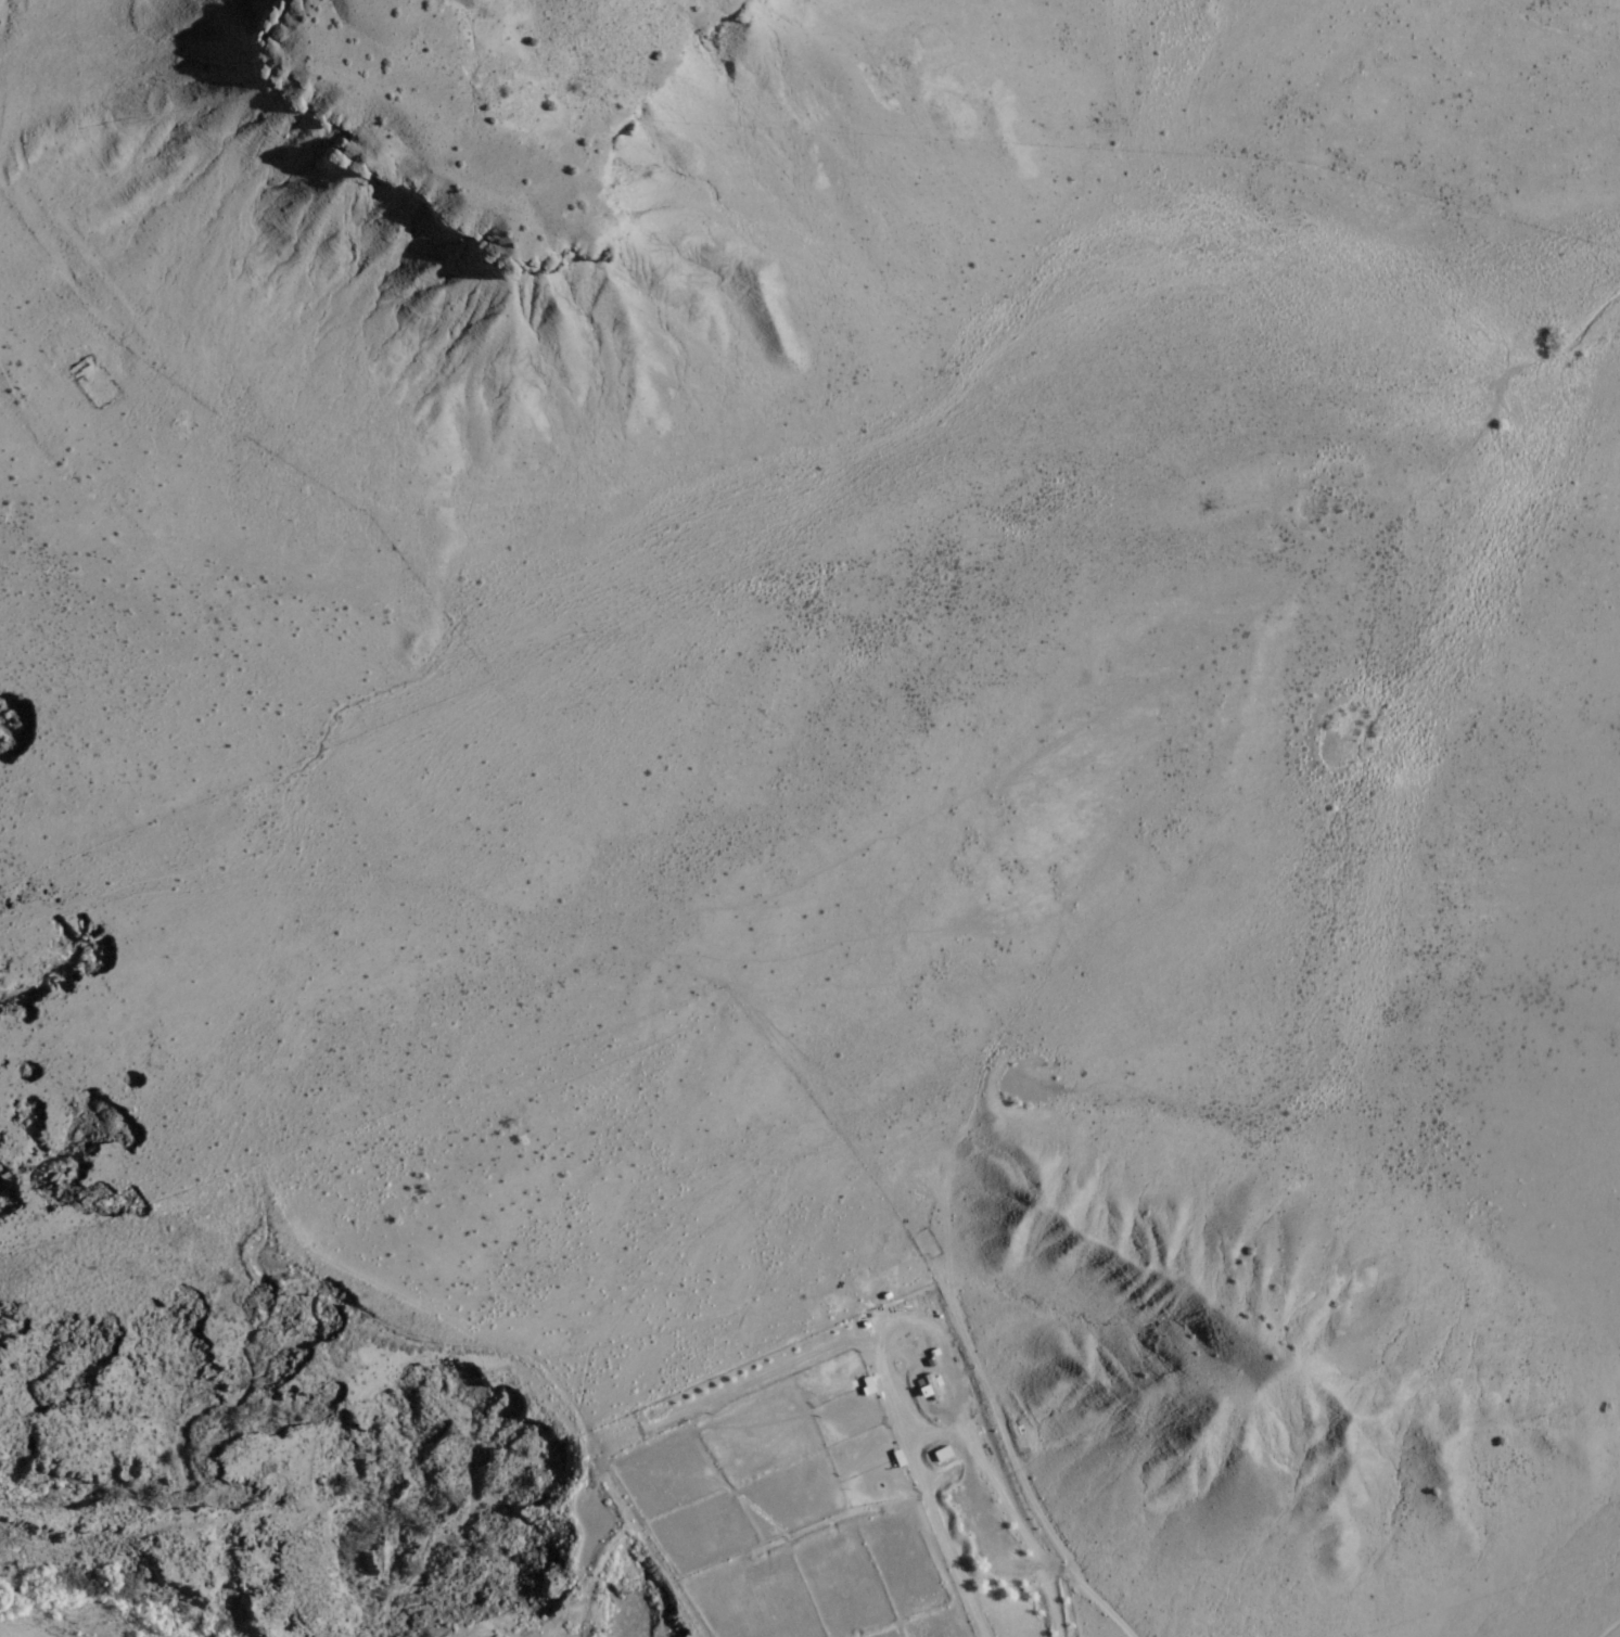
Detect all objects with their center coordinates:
building: (928, 1385)
road: (1613, 1632)

